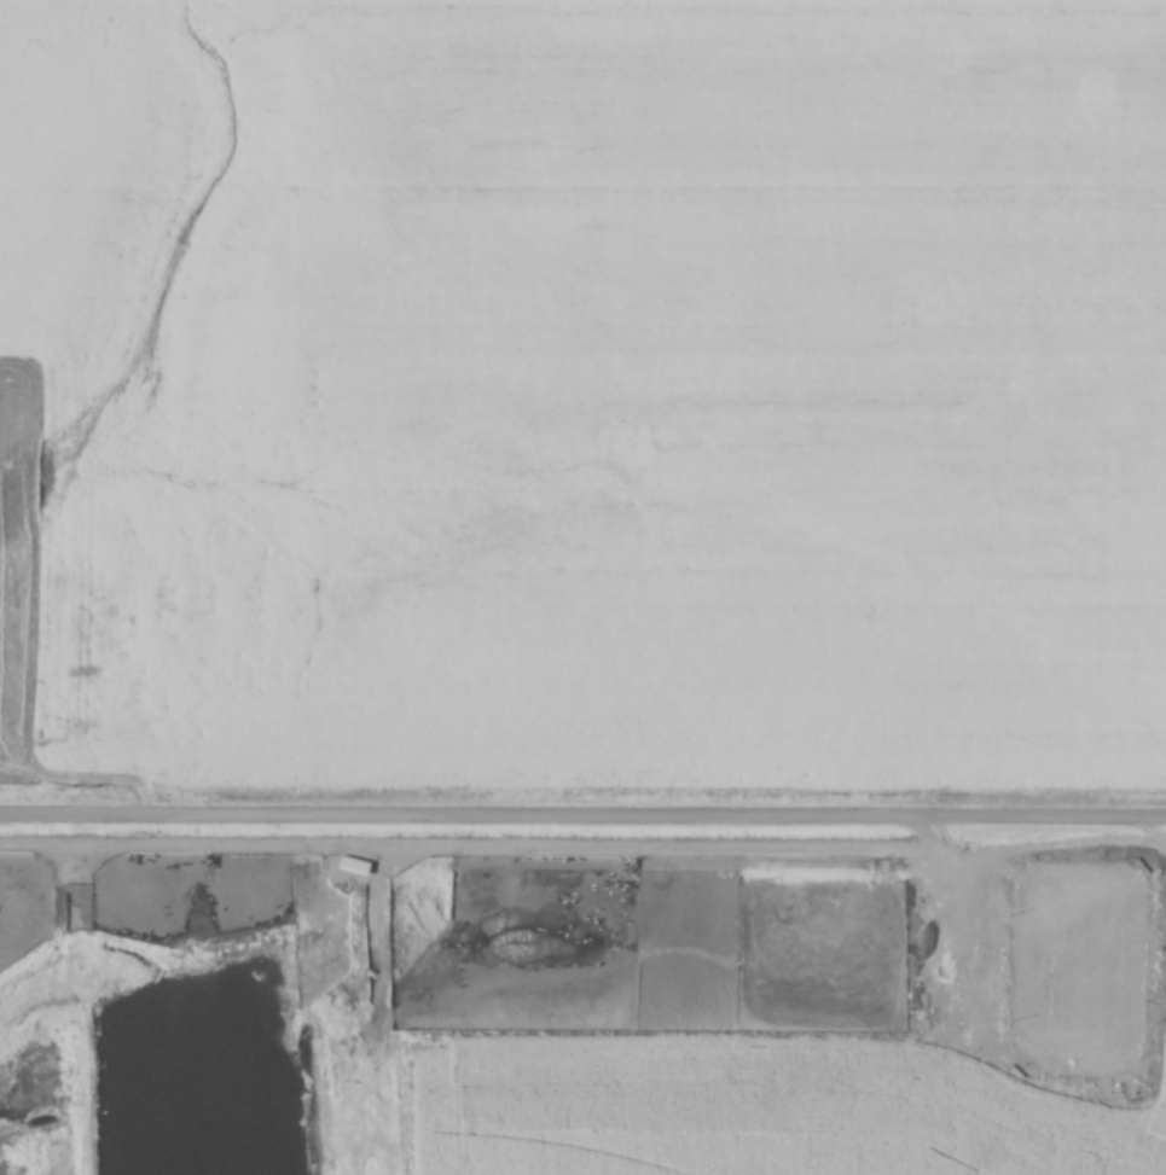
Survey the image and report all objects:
building: (253, 662)
road: (582, 810)

